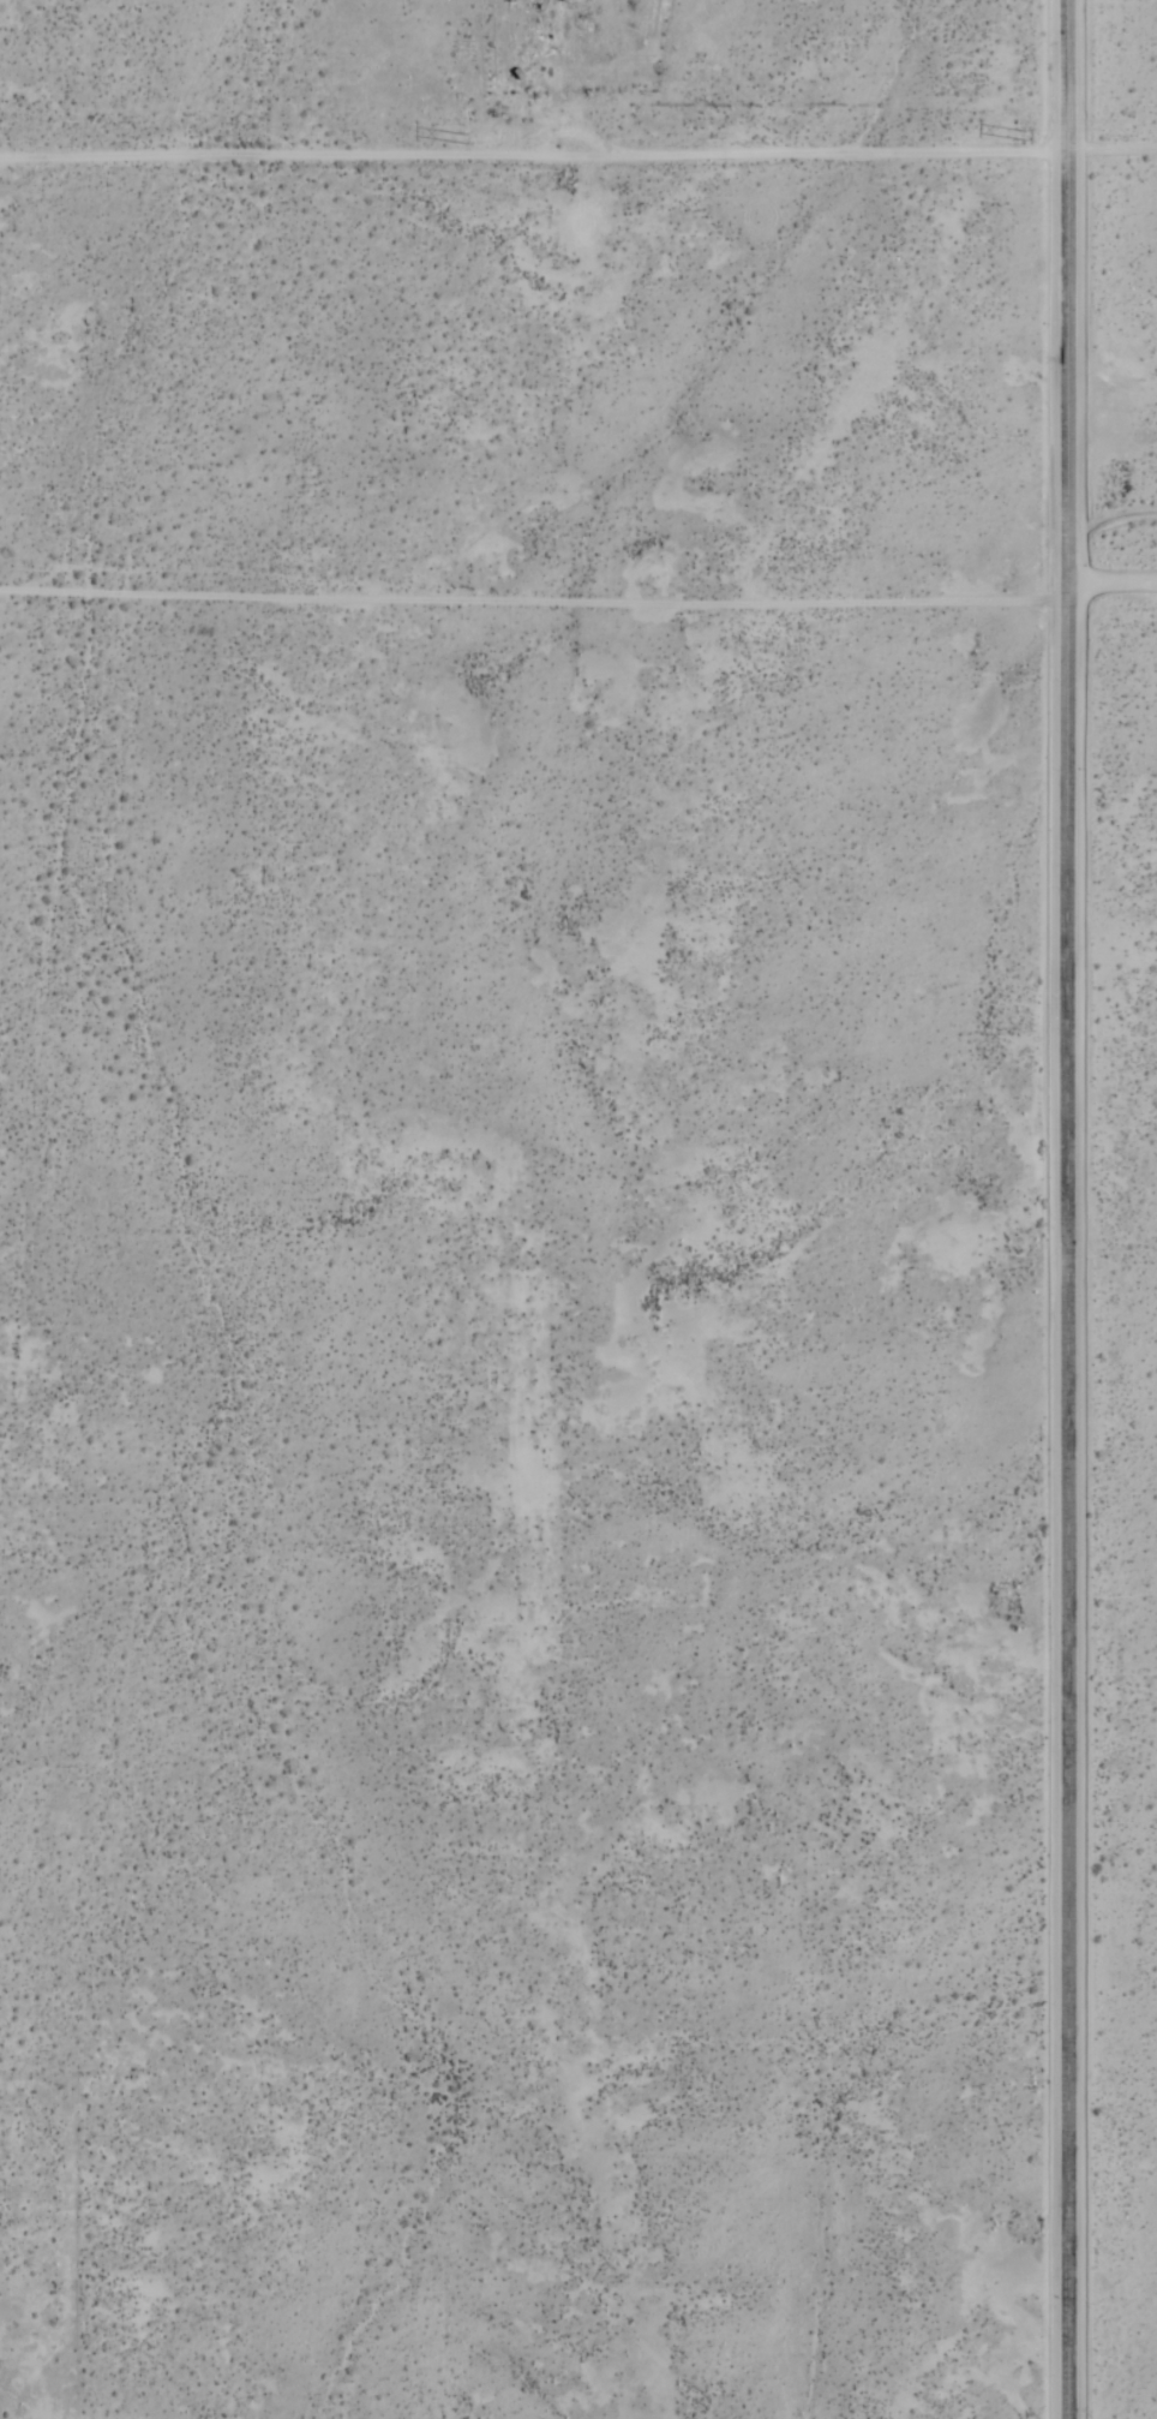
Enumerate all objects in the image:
power tower: (1019, 137)
power tower: (468, 138)
road: (1114, 148)
road: (535, 155)
road: (1111, 581)
road: (533, 598)
road: (1067, 1208)

